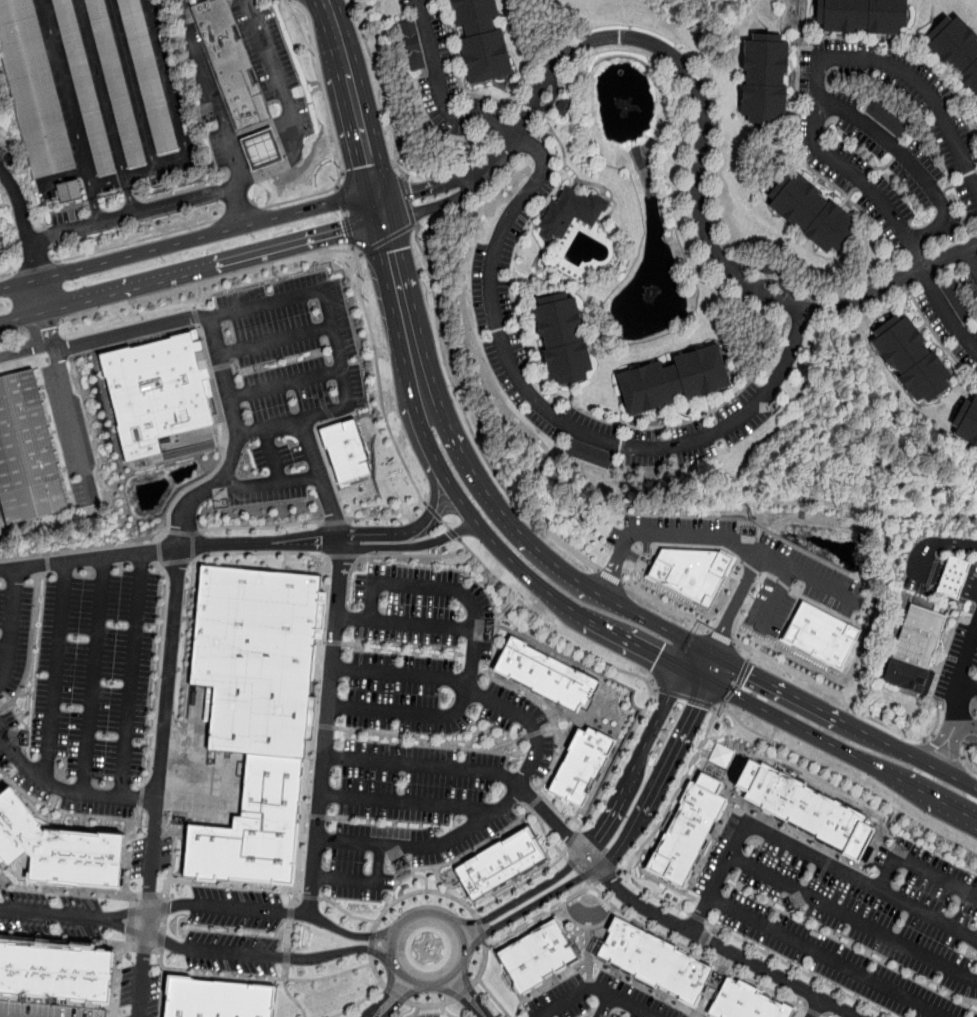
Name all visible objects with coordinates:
building: (865, 18)
building: (485, 41)
building: (412, 43)
building: (959, 52)
building: (229, 62)
building: (148, 76)
road: (167, 80)
building: (768, 81)
building: (116, 82)
road: (133, 85)
building: (84, 87)
building: (33, 89)
road: (384, 89)
road: (211, 90)
road: (441, 93)
road: (353, 96)
road: (106, 106)
road: (288, 110)
road: (70, 112)
building: (886, 118)
road: (817, 123)
road: (260, 126)
road: (332, 126)
building: (259, 149)
road: (700, 163)
road: (912, 163)
traffic signals: (368, 165)
road: (138, 174)
road: (468, 178)
road: (337, 187)
road: (416, 190)
building: (71, 191)
traffic signals: (412, 192)
road: (341, 198)
road: (407, 201)
road: (435, 206)
road: (150, 209)
road: (378, 209)
building: (571, 211)
road: (239, 213)
road: (345, 213)
building: (814, 215)
road: (24, 222)
road: (349, 231)
traffic signals: (344, 233)
road: (388, 238)
road: (187, 239)
road: (137, 240)
road: (351, 249)
traffic signals: (389, 252)
road: (359, 255)
road: (972, 258)
road: (36, 266)
road: (214, 267)
road: (359, 270)
road: (8, 273)
road: (42, 295)
road: (199, 296)
road: (401, 303)
road: (196, 315)
road: (23, 316)
road: (53, 322)
road: (132, 331)
road: (275, 339)
building: (567, 346)
road: (337, 347)
road: (26, 348)
road: (245, 357)
building: (914, 363)
road: (222, 366)
road: (211, 368)
road: (247, 369)
road: (236, 372)
road: (211, 373)
road: (251, 382)
road: (286, 383)
building: (676, 384)
building: (156, 390)
parking lot: (277, 390)
road: (68, 406)
road: (330, 415)
road: (556, 417)
road: (332, 419)
road: (467, 419)
road: (420, 421)
building: (967, 424)
road: (221, 435)
road: (237, 441)
road: (310, 448)
building: (27, 452)
building: (345, 452)
road: (323, 454)
road: (272, 455)
road: (437, 462)
road: (268, 483)
road: (189, 486)
road: (433, 500)
road: (423, 501)
road: (495, 502)
road: (403, 503)
road: (330, 507)
road: (433, 511)
road: (334, 522)
road: (445, 524)
road: (479, 525)
road: (260, 527)
road: (378, 530)
road: (184, 532)
road: (454, 533)
road: (718, 537)
road: (410, 545)
road: (677, 545)
road: (936, 545)
road: (192, 547)
road: (169, 548)
road: (259, 552)
road: (345, 555)
road: (415, 555)
road: (750, 567)
building: (692, 571)
road: (761, 574)
road: (611, 576)
building: (951, 579)
road: (951, 583)
road: (783, 584)
parking lot: (915, 588)
road: (556, 597)
road: (776, 598)
road: (833, 599)
road: (746, 600)
road: (515, 601)
road: (735, 602)
road: (818, 604)
road: (667, 606)
road: (828, 608)
road: (499, 617)
road: (790, 617)
road: (648, 620)
road: (405, 623)
road: (9, 624)
road: (361, 629)
building: (822, 635)
road: (721, 637)
road: (360, 641)
road: (323, 642)
road: (333, 643)
road: (635, 643)
road: (355, 644)
road: (707, 650)
building: (912, 651)
road: (473, 655)
road: (750, 655)
traffic signals: (659, 656)
parking lot: (958, 658)
road: (2, 660)
road: (360, 660)
road: (614, 667)
road: (713, 668)
road: (55, 671)
road: (742, 671)
traffic signals: (749, 672)
road: (130, 674)
road: (400, 674)
road: (94, 675)
building: (545, 675)
road: (962, 675)
parking lot: (77, 683)
road: (737, 685)
road: (968, 688)
road: (653, 689)
road: (730, 695)
road: (685, 697)
road: (671, 699)
road: (724, 706)
road: (816, 706)
traffic signals: (696, 707)
road: (849, 707)
road: (716, 709)
building: (255, 713)
road: (553, 719)
road: (782, 719)
road: (316, 725)
road: (966, 725)
road: (325, 726)
road: (326, 726)
road: (314, 728)
road: (548, 728)
parking lot: (410, 731)
road: (534, 733)
road: (766, 737)
road: (430, 744)
road: (946, 744)
parking lot: (976, 745)
road: (675, 747)
road: (943, 751)
road: (422, 765)
building: (582, 765)
road: (970, 767)
road: (946, 773)
road: (159, 782)
road: (66, 790)
road: (928, 794)
road: (541, 795)
road: (405, 801)
road: (534, 801)
road: (617, 805)
road: (345, 806)
road: (529, 807)
building: (807, 809)
road: (306, 815)
road: (489, 815)
road: (506, 815)
road: (318, 816)
road: (336, 817)
road: (512, 823)
road: (632, 829)
building: (688, 831)
road: (545, 834)
road: (878, 835)
road: (572, 838)
building: (57, 848)
road: (806, 852)
road: (460, 856)
road: (611, 857)
road: (378, 862)
building: (502, 862)
road: (572, 863)
road: (578, 869)
road: (919, 869)
road: (622, 871)
road: (3, 874)
road: (584, 875)
road: (607, 875)
road: (343, 878)
road: (662, 882)
road: (225, 883)
road: (66, 889)
road: (161, 895)
road: (148, 896)
road: (310, 896)
road: (524, 896)
road: (656, 896)
road: (132, 901)
road: (291, 901)
road: (530, 906)
road: (164, 907)
road: (469, 908)
road: (249, 909)
road: (132, 912)
road: (347, 912)
road: (50, 913)
road: (290, 913)
road: (541, 913)
road: (475, 914)
road: (698, 917)
parking lot: (853, 917)
road: (852, 918)
road: (131, 920)
road: (673, 921)
road: (478, 922)
road: (163, 924)
road: (584, 927)
road: (130, 928)
road: (481, 929)
road: (288, 935)
road: (373, 935)
road: (483, 936)
road: (392, 937)
road: (162, 939)
road: (68, 941)
road: (129, 941)
road: (372, 943)
road: (144, 949)
road: (157, 950)
road: (372, 950)
road: (692, 950)
road: (587, 953)
road: (246, 954)
building: (541, 955)
road: (825, 957)
road: (286, 958)
road: (464, 958)
building: (654, 961)
road: (599, 962)
road: (483, 963)
road: (798, 969)
road: (285, 971)
road: (375, 971)
building: (55, 973)
road: (257, 975)
road: (469, 987)
road: (389, 988)
road: (469, 988)
road: (597, 988)
road: (464, 991)
road: (161, 993)
road: (386, 993)
road: (396, 994)
road: (459, 996)
road: (459, 996)
road: (292, 997)
building: (218, 998)
road: (401, 998)
road: (402, 998)
road: (494, 998)
parking lot: (597, 999)
road: (359, 1002)
building: (746, 1002)
road: (431, 1005)
road: (605, 1006)
road: (816, 1007)
building: (46, 1010)
parking garage: (46, 1010)
road: (800, 1011)
road: (813, 1011)
road: (414, 1012)
road: (446, 1012)
road: (482, 1014)
road: (697, 1016)
road: (821, 1016)

